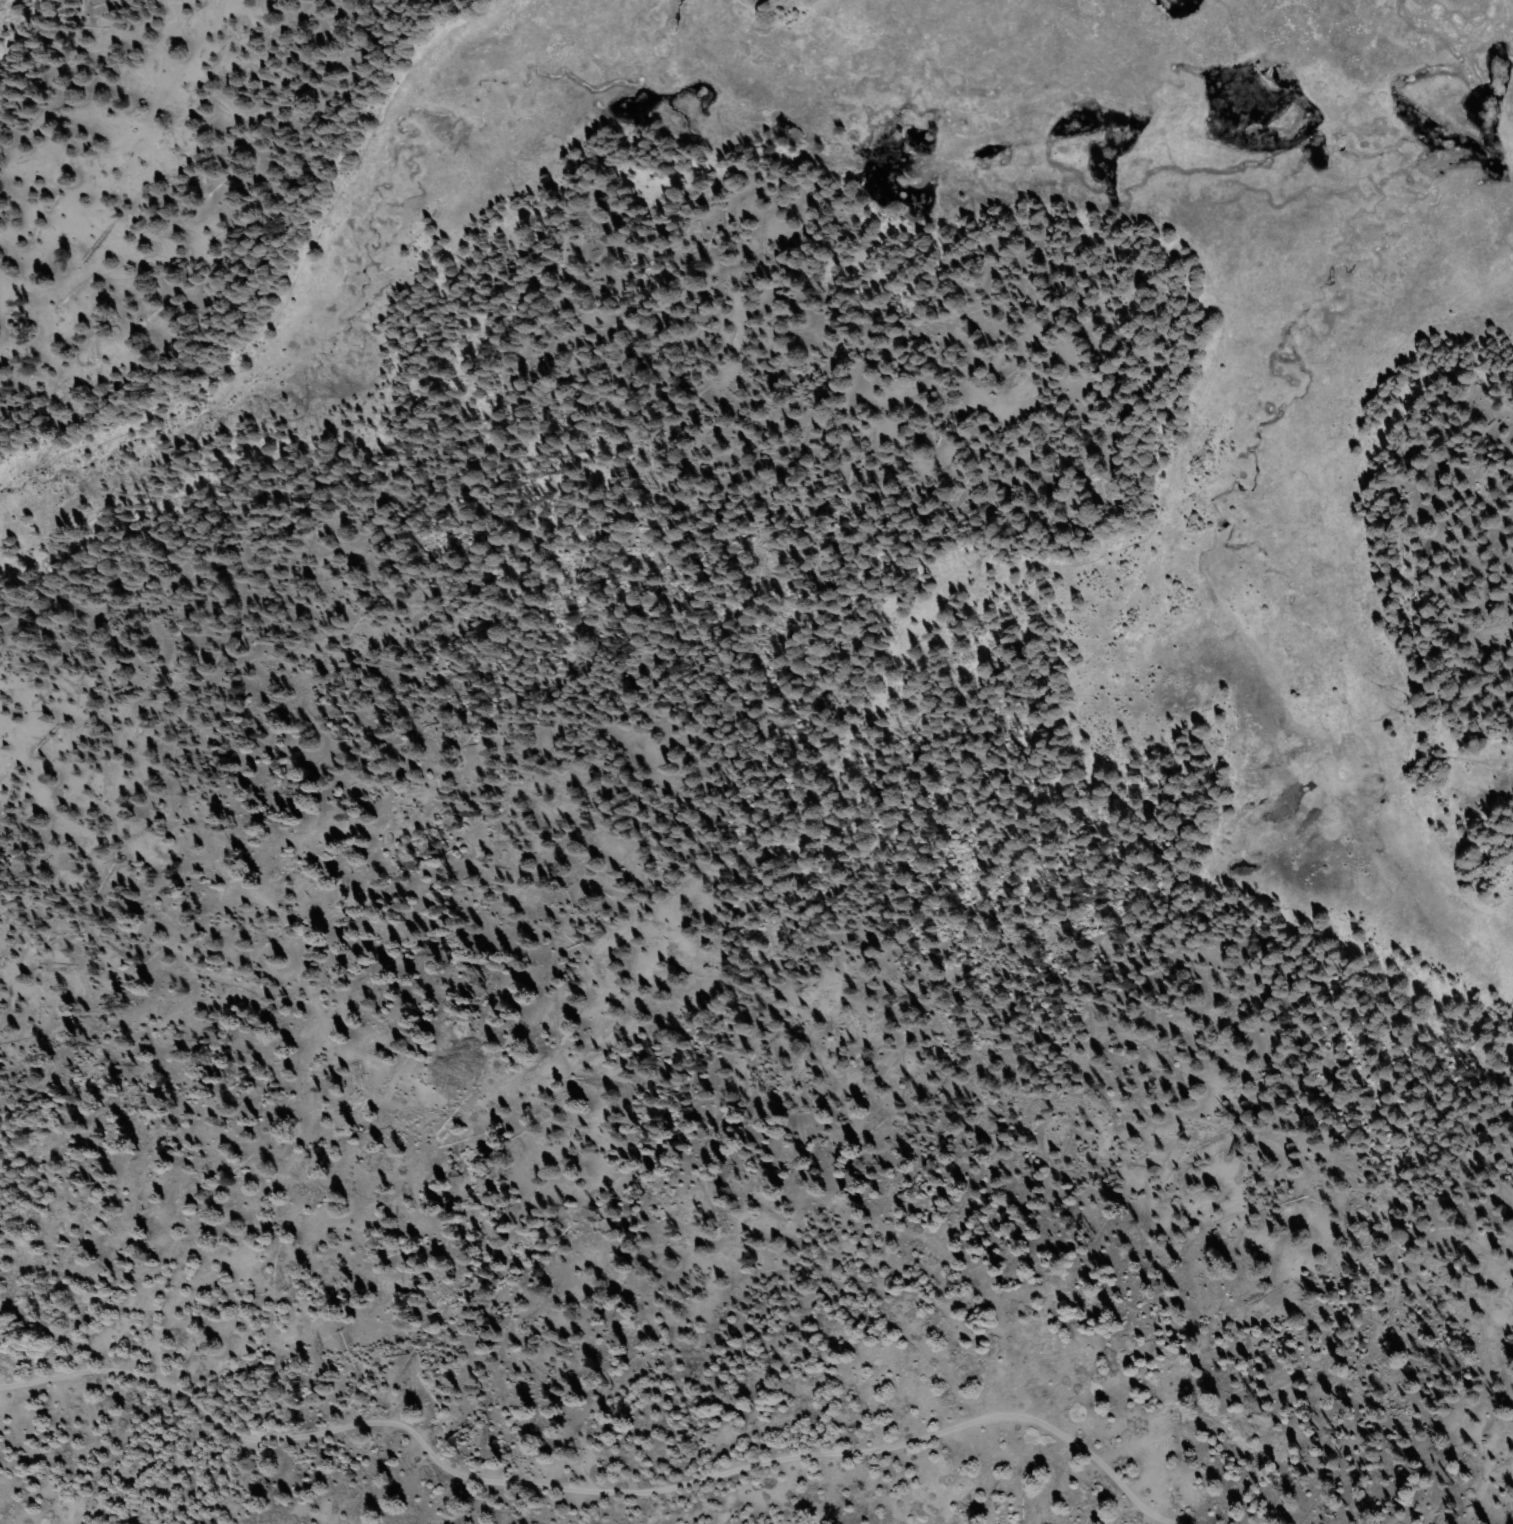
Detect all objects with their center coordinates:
road: (592, 1483)

